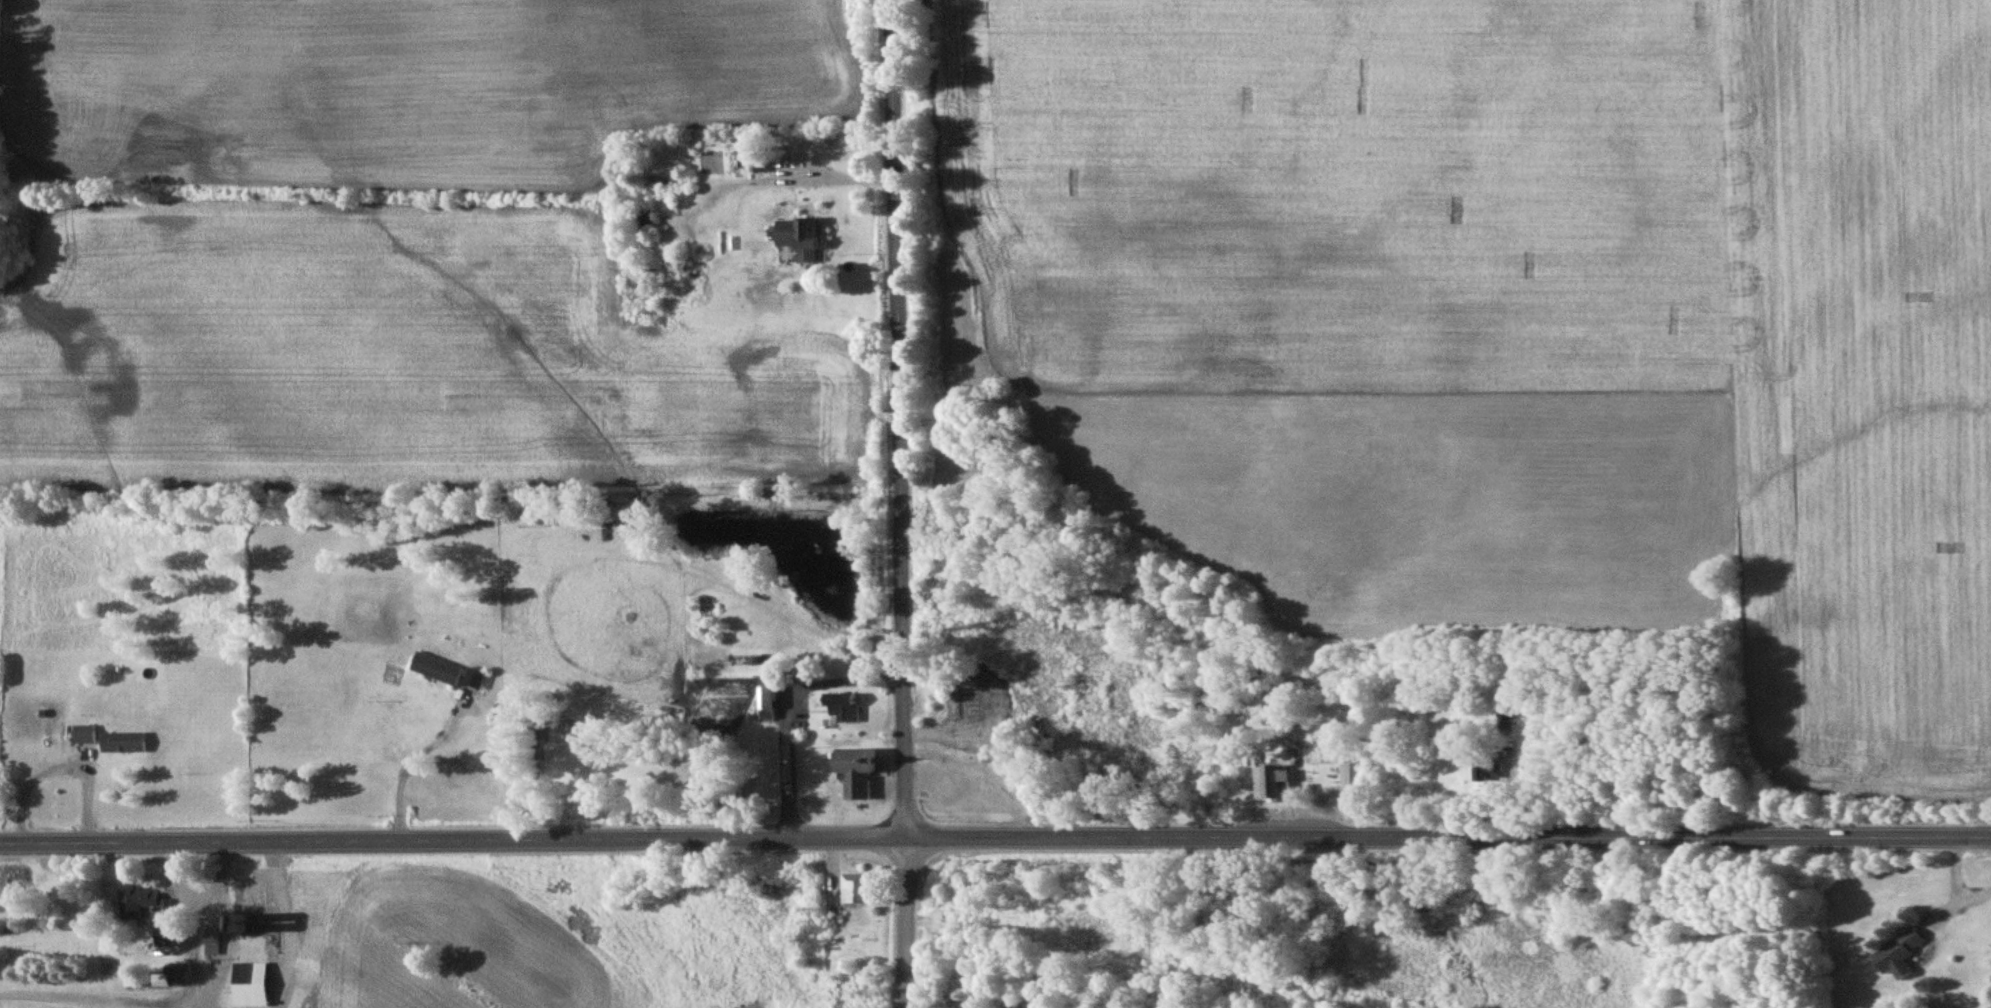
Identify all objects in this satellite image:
road: (839, 179)
building: (804, 237)
road: (899, 503)
building: (440, 667)
building: (477, 676)
building: (770, 696)
building: (848, 705)
road: (790, 714)
building: (87, 733)
building: (970, 739)
building: (126, 741)
road: (413, 760)
road: (62, 769)
building: (861, 769)
building: (1487, 769)
building: (1355, 772)
building: (1274, 780)
road: (995, 840)
building: (860, 887)
building: (143, 900)
road: (190, 924)
road: (290, 925)
building: (166, 936)
building: (1901, 953)
building: (134, 979)
building: (253, 984)
road: (69, 999)

